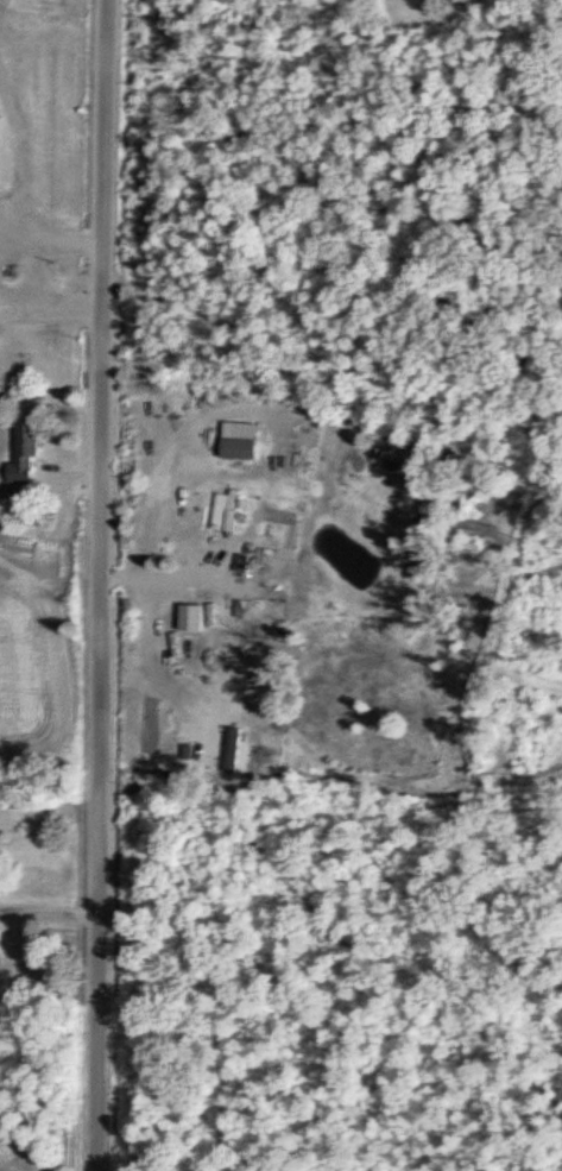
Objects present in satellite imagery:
building: (6, 301)
building: (229, 446)
building: (18, 453)
building: (220, 508)
road: (108, 585)
building: (225, 613)
road: (51, 913)

